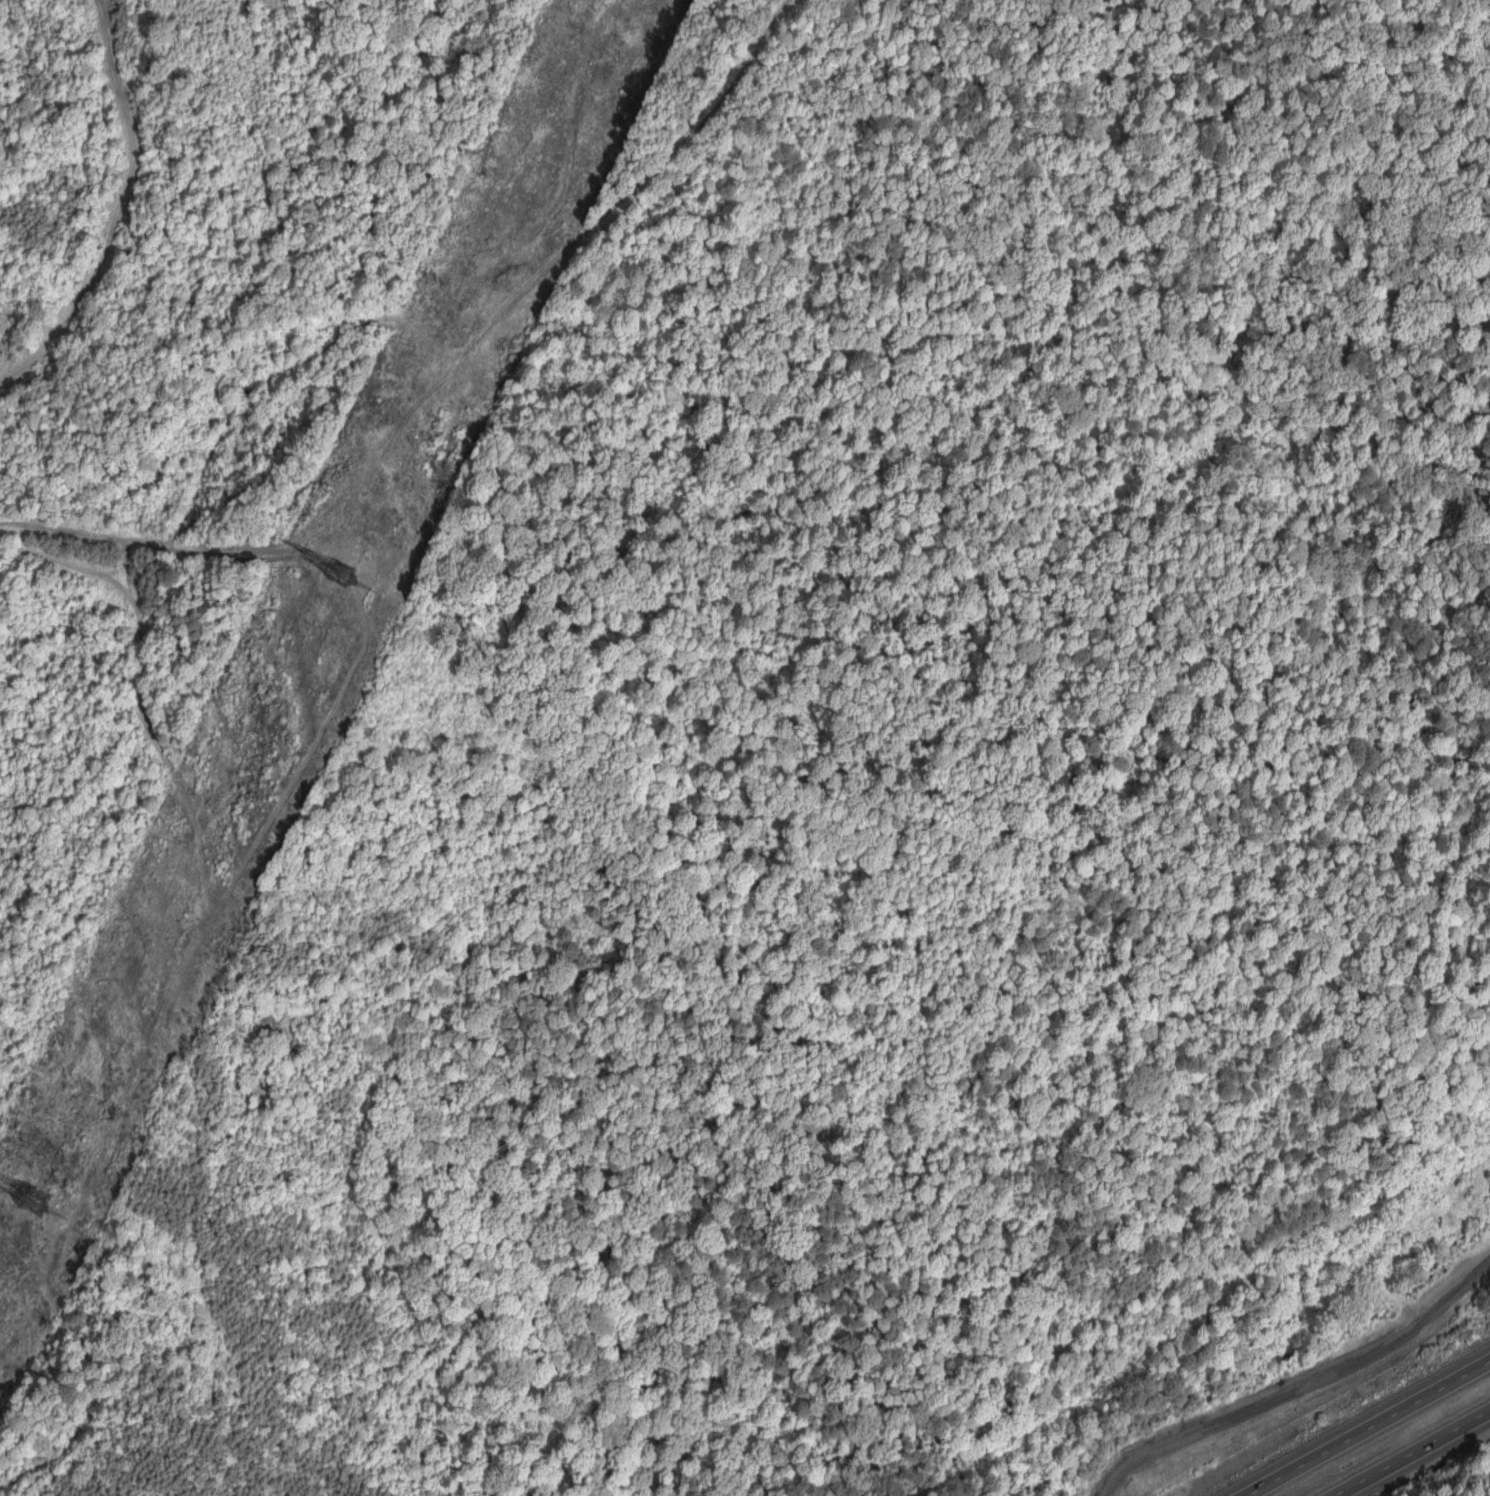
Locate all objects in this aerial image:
road: (1285, 258)
power tower: (342, 573)
power tower: (39, 1198)
road: (1297, 1386)
road: (1365, 1428)
road: (1409, 1451)

